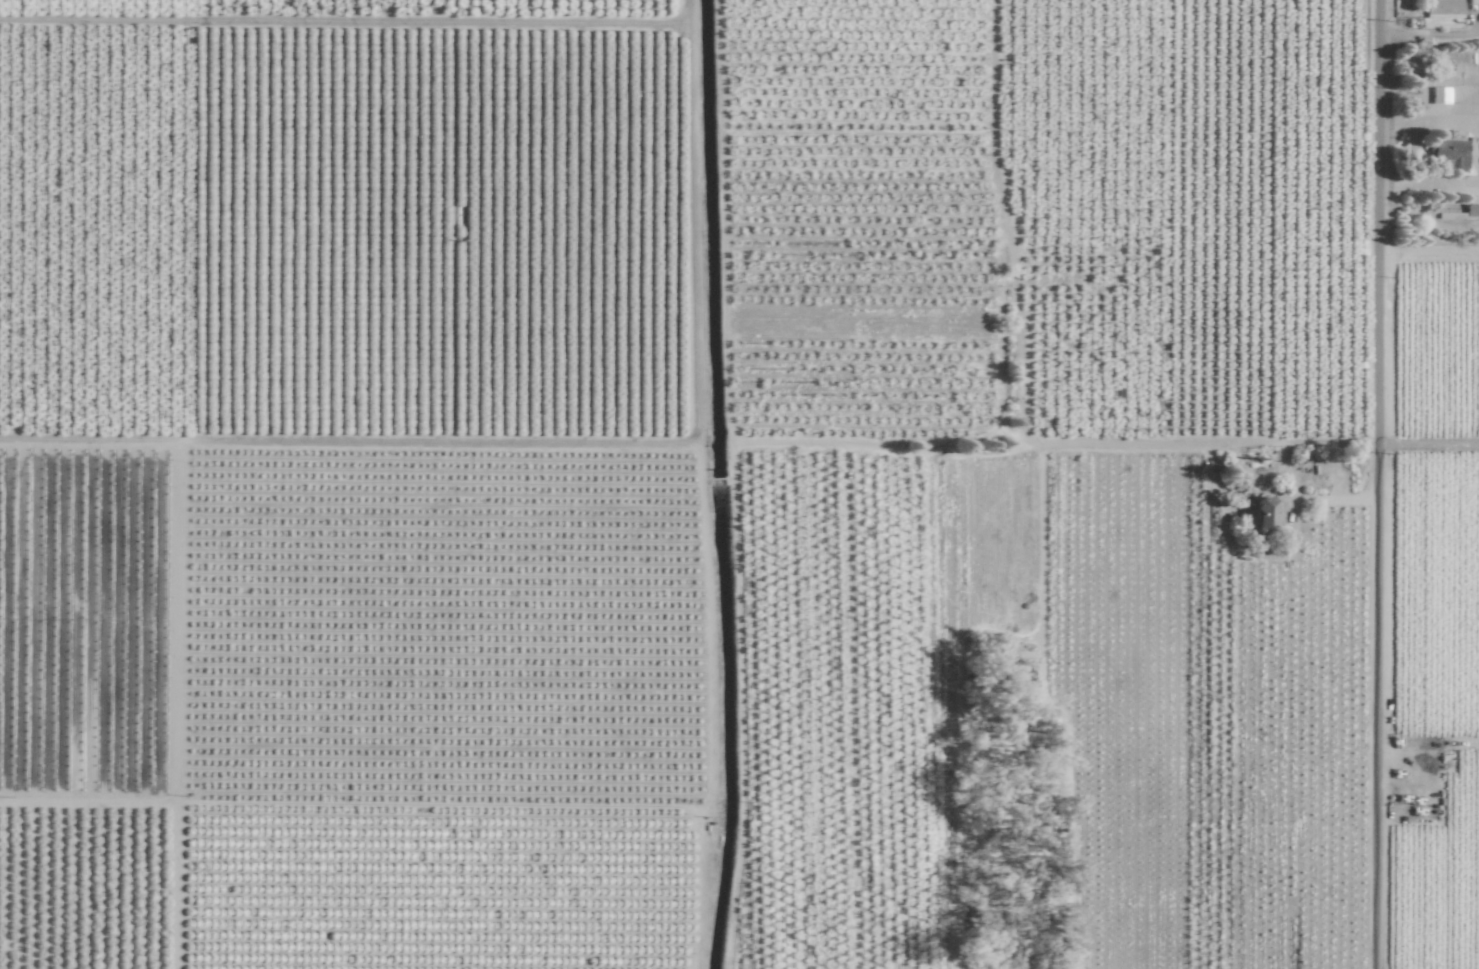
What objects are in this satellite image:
building: (1471, 2)
building: (1443, 8)
road: (1430, 38)
building: (1438, 96)
road: (1430, 123)
building: (1449, 156)
road: (1417, 171)
building: (1471, 212)
road: (1429, 253)
road: (1109, 446)
road: (1379, 484)

